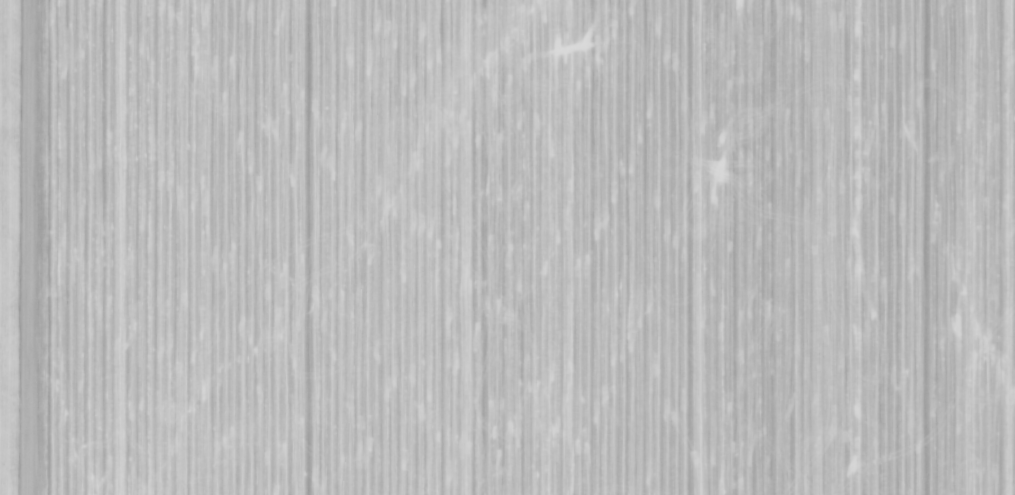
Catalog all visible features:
road: (32, 247)
crop: (507, 247)

